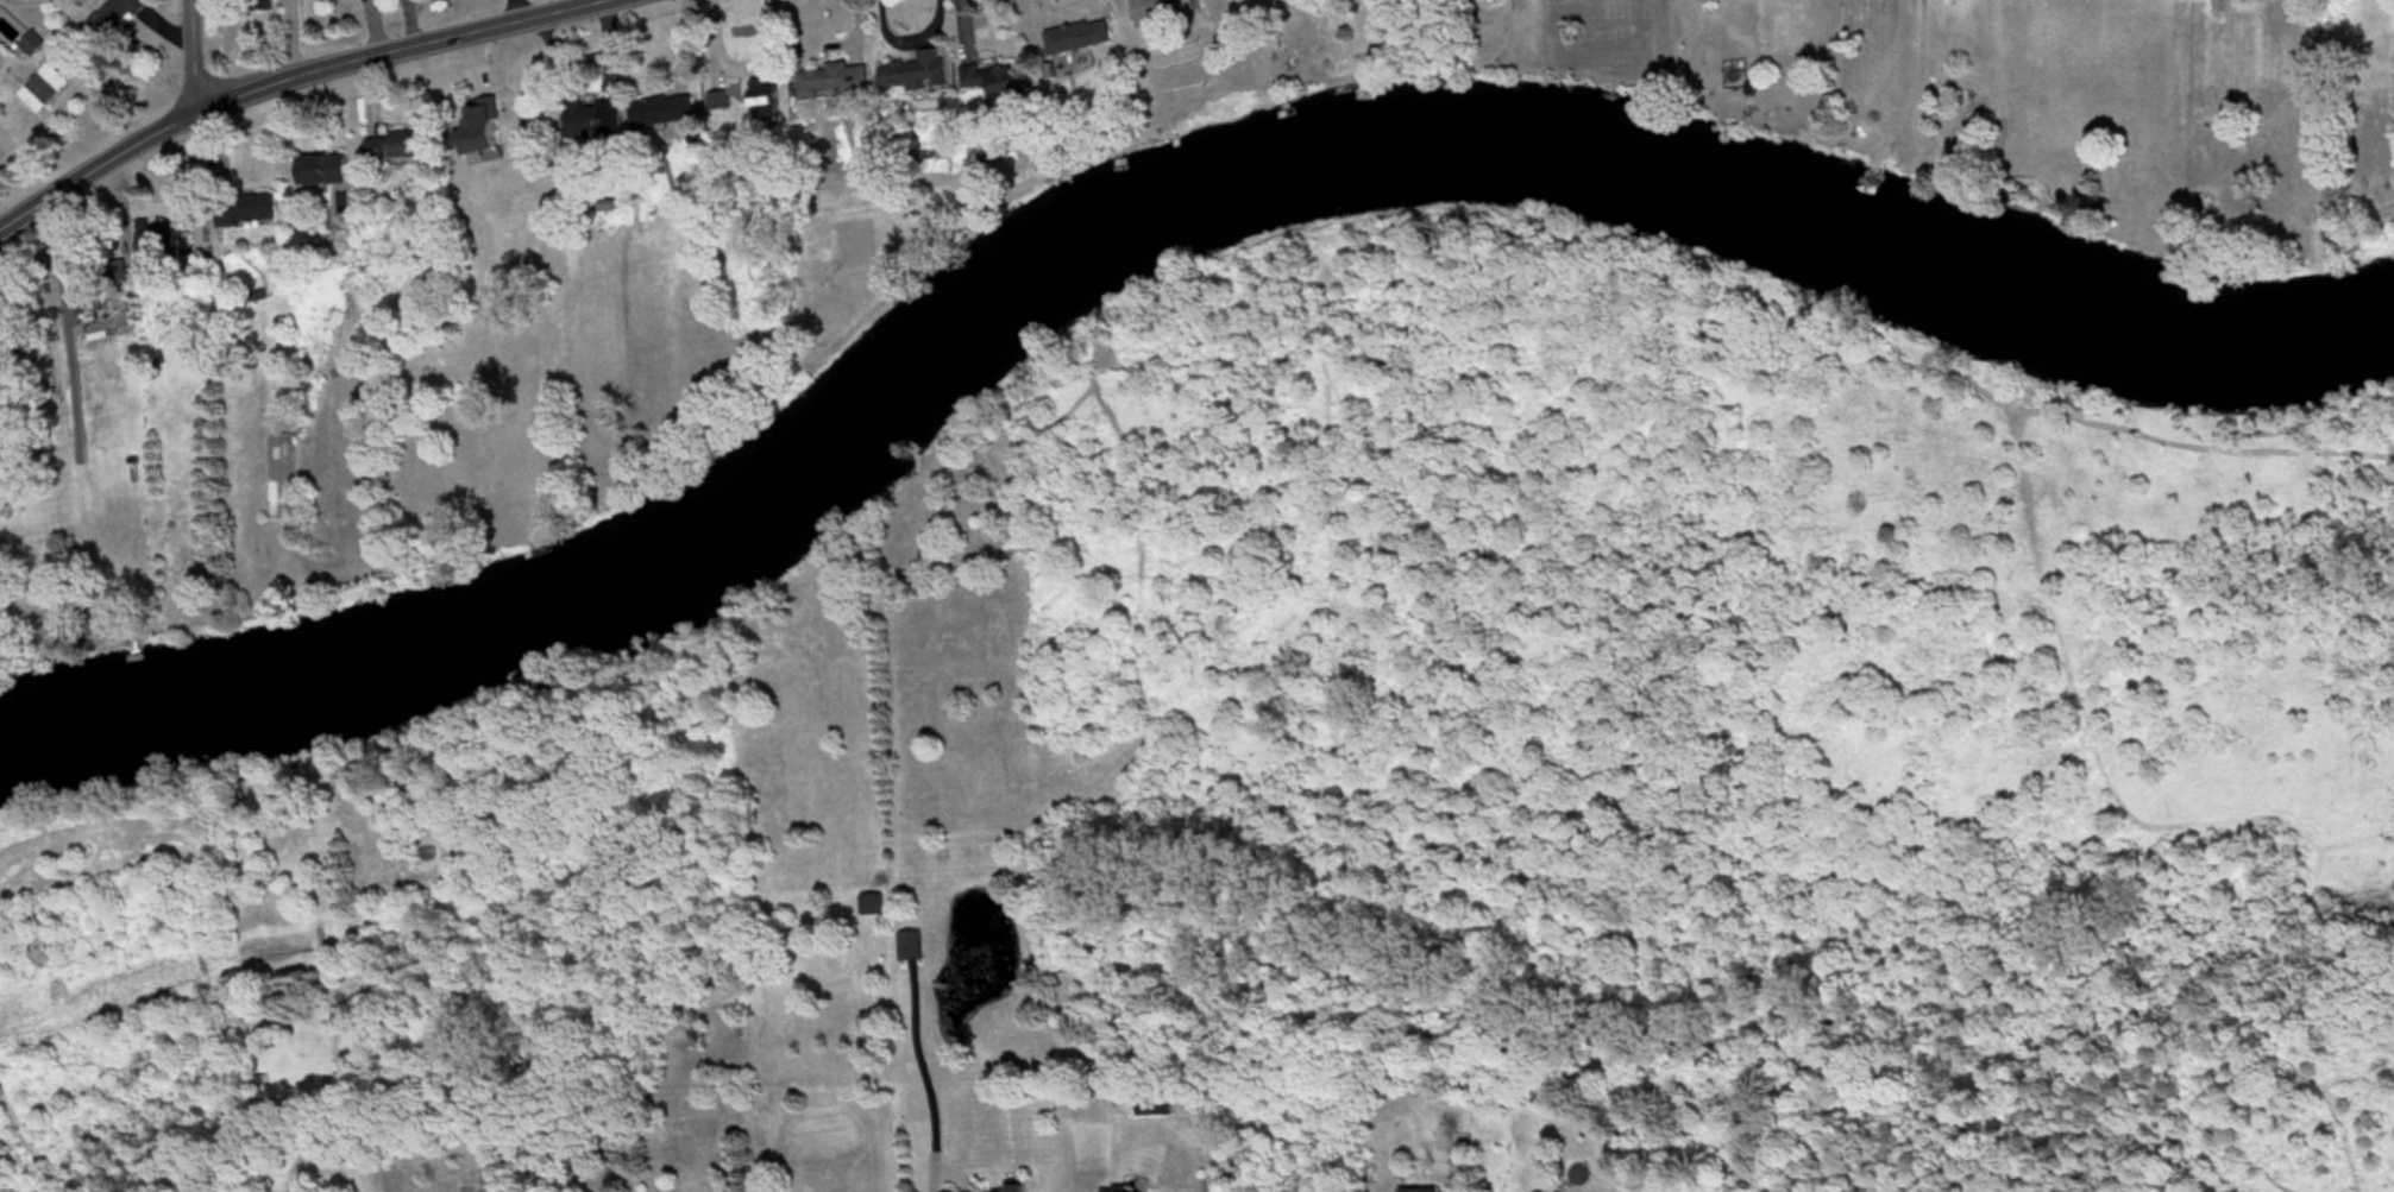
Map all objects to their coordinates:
building: (264, 6)
building: (1163, 13)
building: (119, 18)
building: (1080, 40)
building: (34, 46)
road: (194, 57)
building: (1736, 75)
building: (918, 76)
road: (295, 78)
building: (835, 83)
building: (997, 87)
building: (46, 90)
building: (769, 101)
building: (666, 114)
building: (597, 124)
building: (482, 130)
building: (397, 149)
building: (325, 172)
river: (1146, 195)
building: (247, 212)
building: (165, 242)
building: (94, 301)
building: (873, 906)
building: (913, 947)
road: (935, 1074)
building: (1016, 1188)
building: (1415, 1191)

